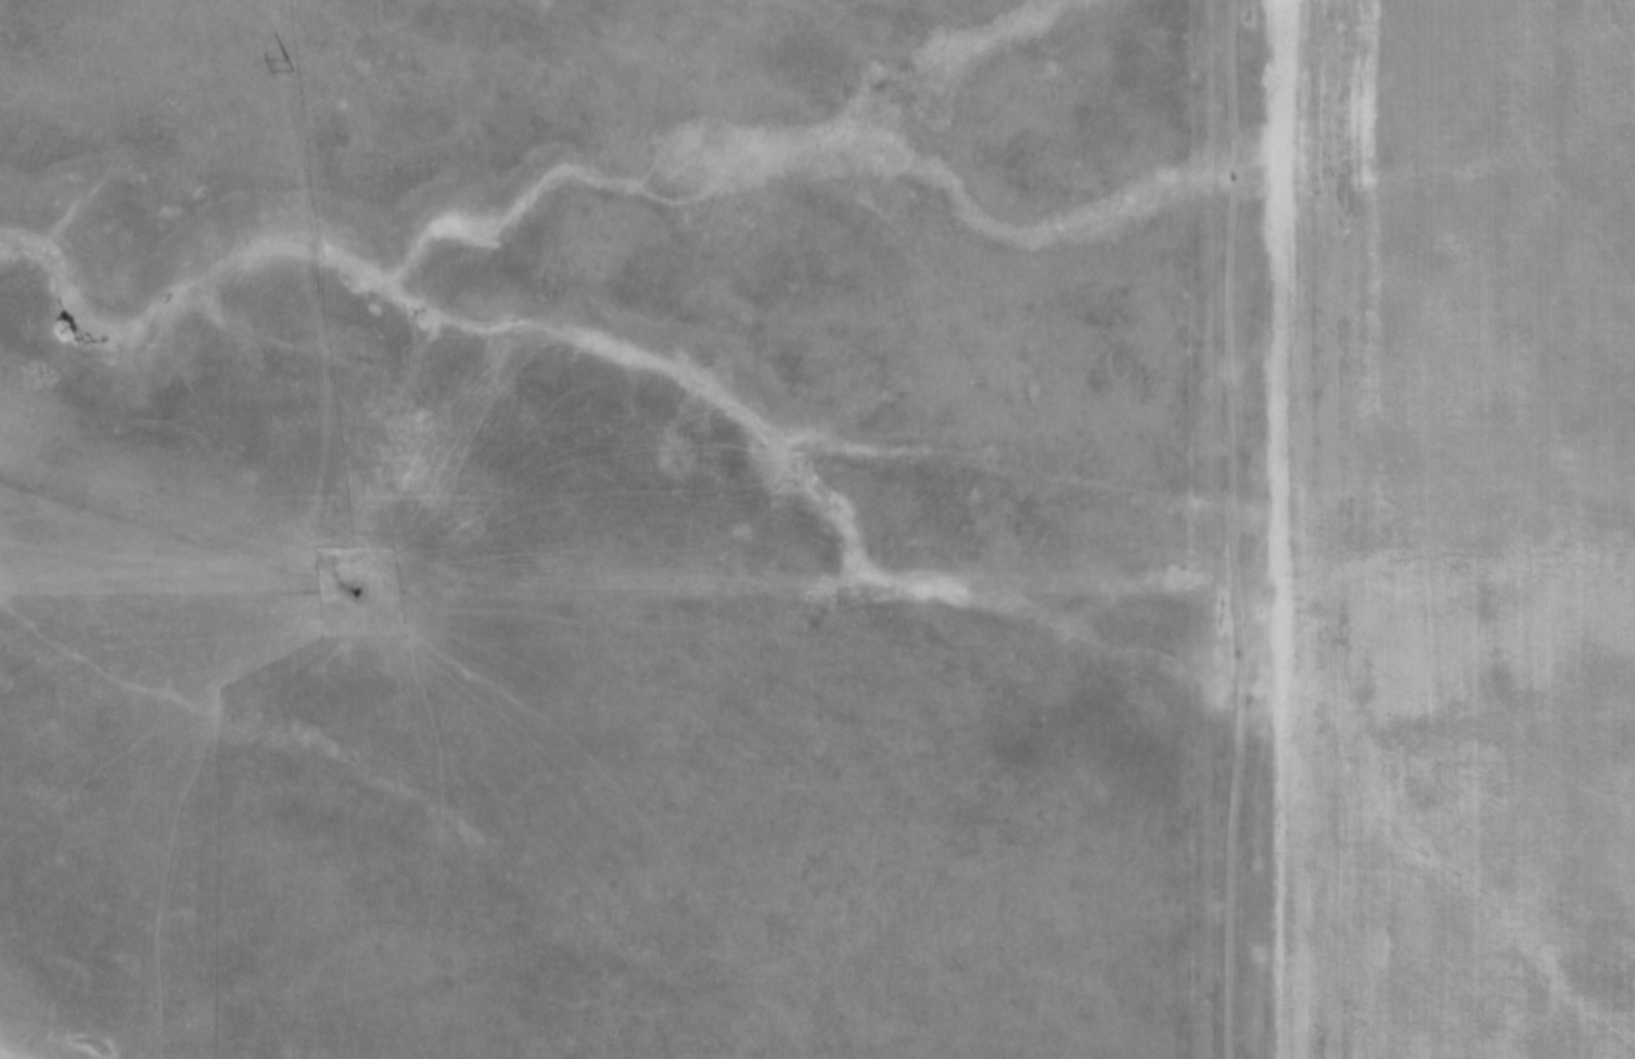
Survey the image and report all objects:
power tower: (290, 64)
road: (1228, 529)

